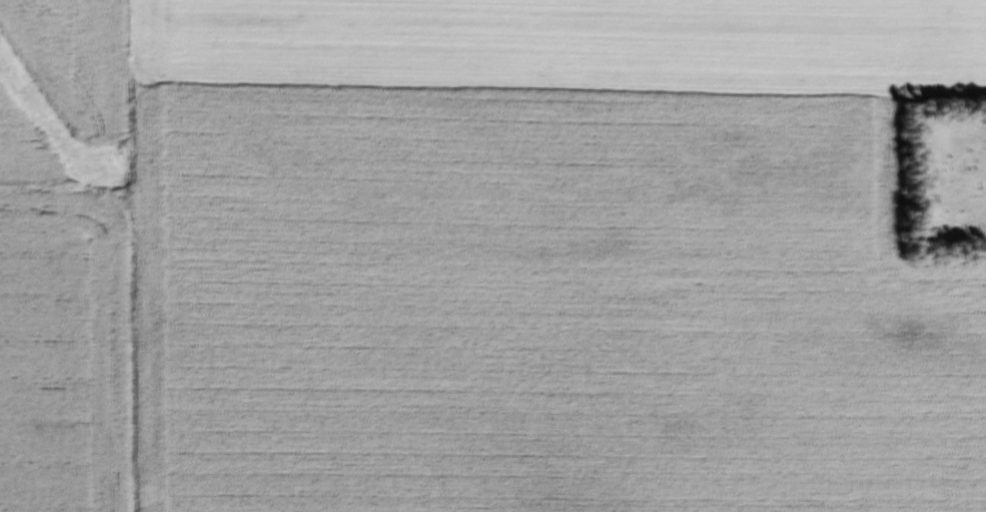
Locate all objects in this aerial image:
park: (942, 179)

